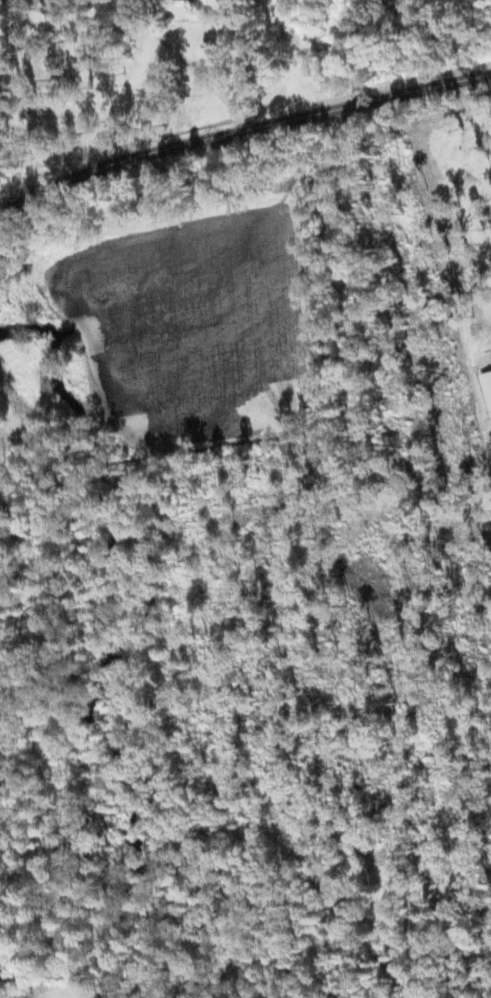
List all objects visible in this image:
road: (184, 62)
road: (240, 119)
park: (3, 443)
park: (35, 986)

